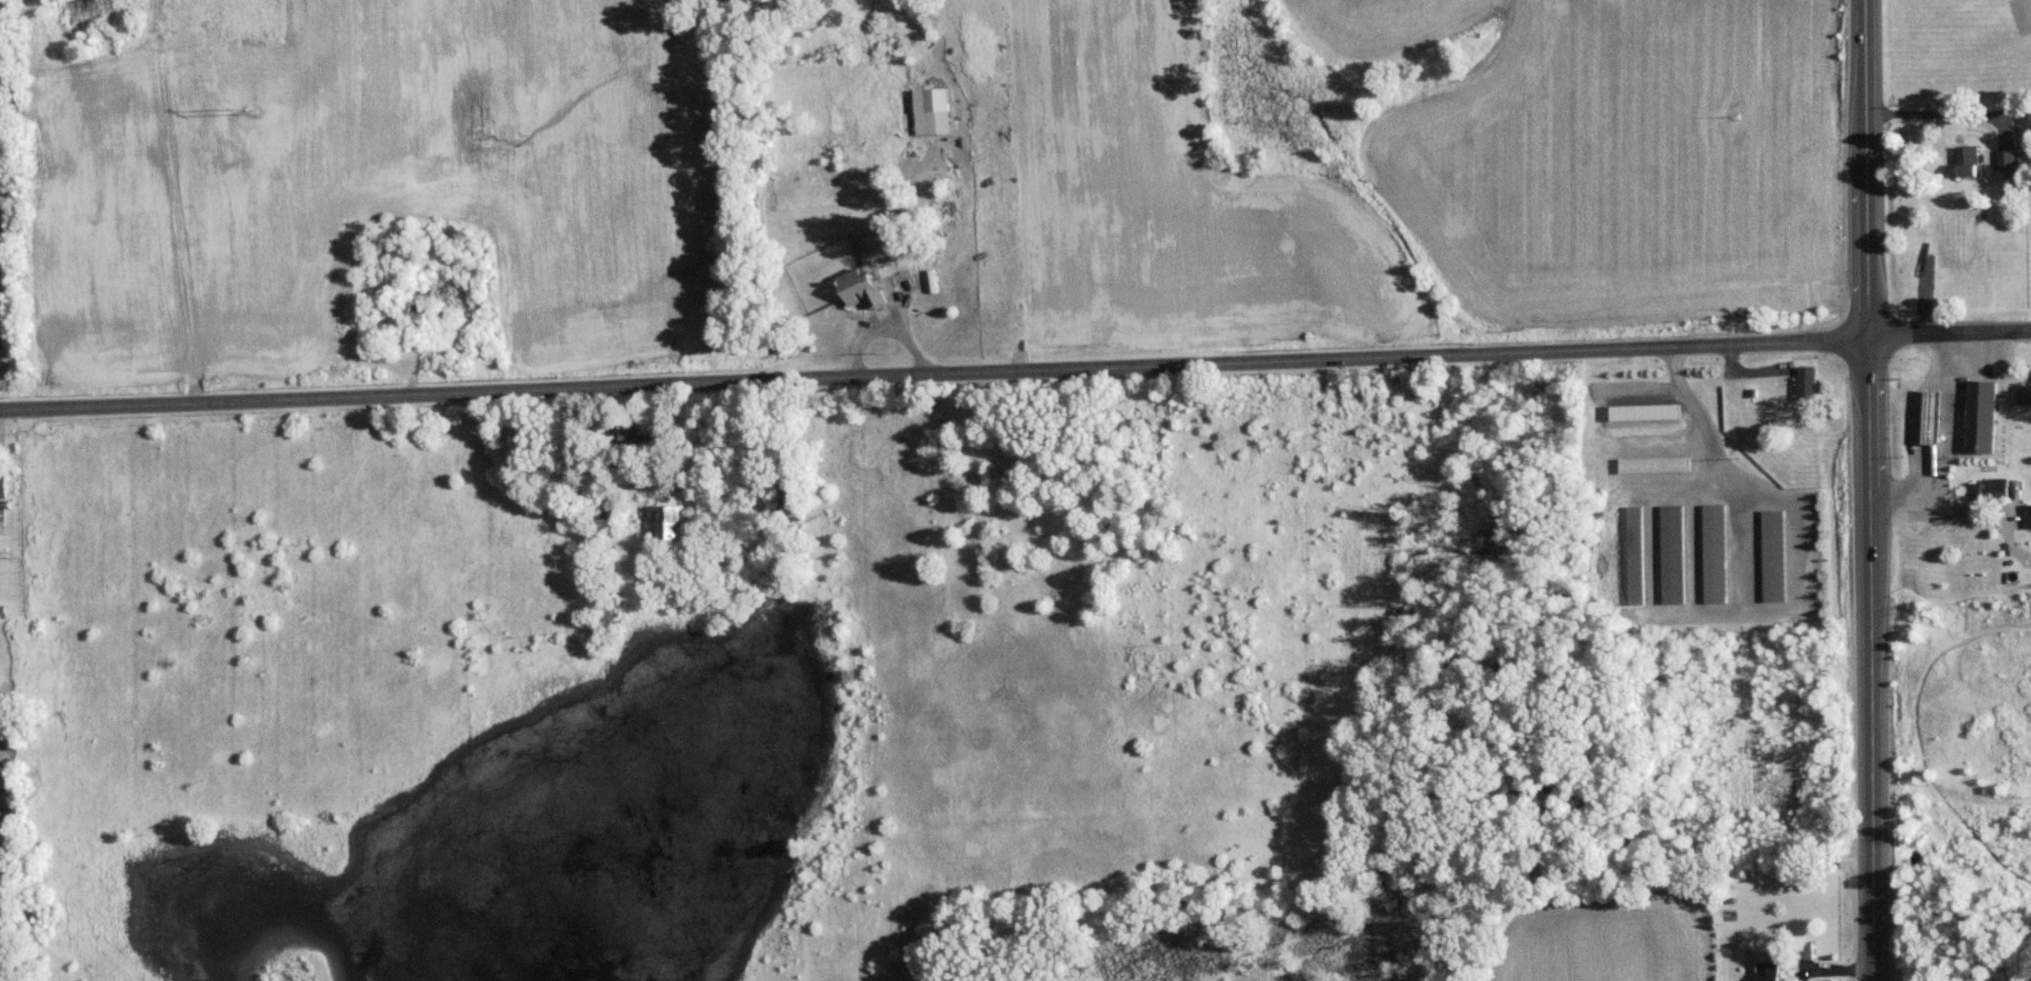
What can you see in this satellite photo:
road: (2028, 7)
power tower: (250, 109)
building: (931, 111)
road: (1938, 113)
building: (2013, 158)
building: (1971, 161)
building: (862, 288)
road: (1015, 376)
building: (1808, 382)
building: (2026, 393)
building: (1957, 410)
road: (1702, 421)
building: (1928, 428)
building: (628, 433)
road: (1940, 442)
building: (3, 483)
building: (1990, 489)
road: (1872, 490)
road: (1928, 515)
building: (2029, 515)
building: (671, 523)
power tower: (19, 549)
building: (1715, 552)
building: (1673, 553)
building: (1636, 554)
building: (1773, 554)
building: (1768, 971)

